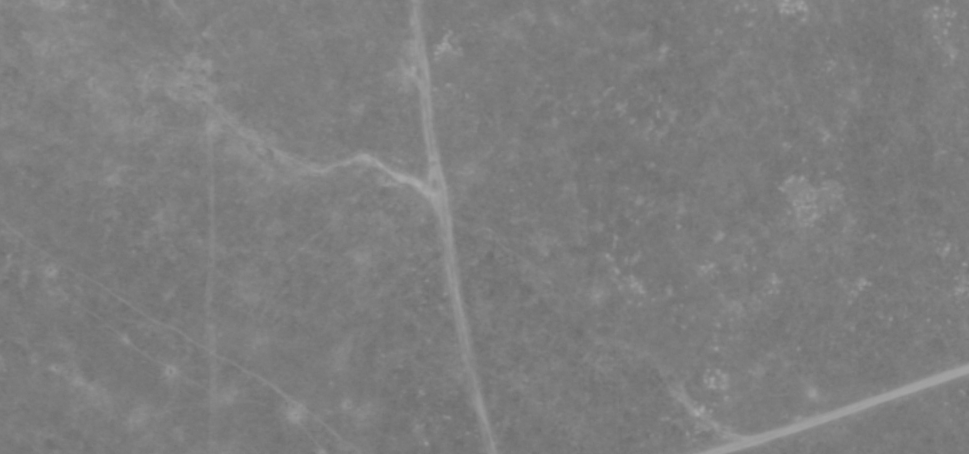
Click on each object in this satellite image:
road: (850, 416)

